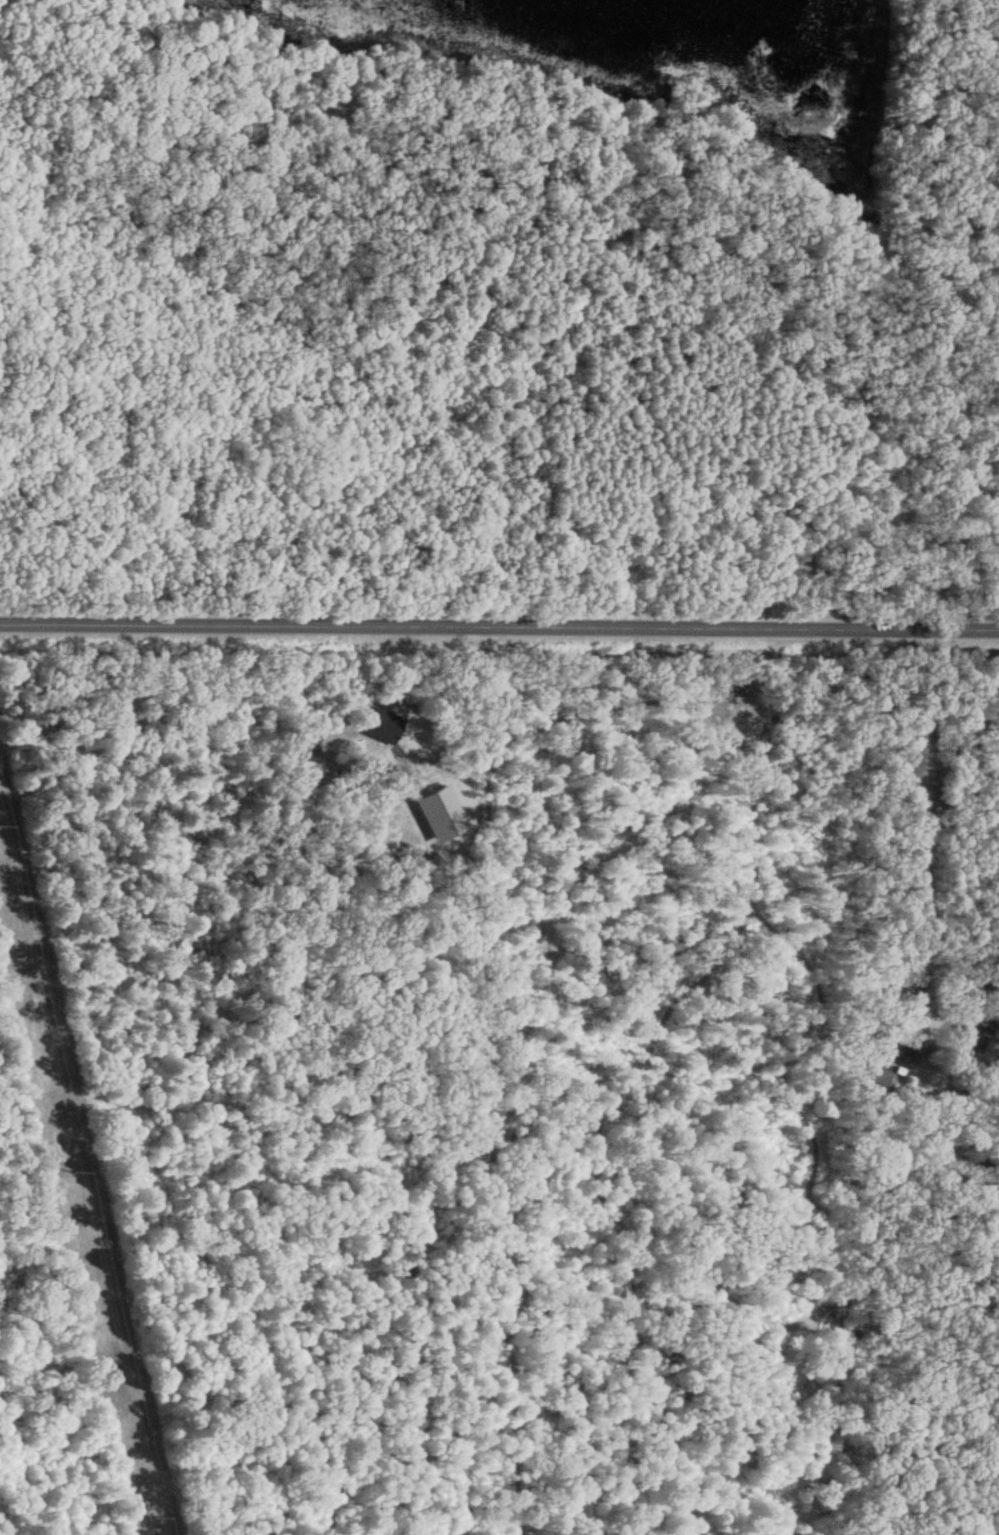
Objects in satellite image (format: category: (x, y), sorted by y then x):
road: (567, 193)
road: (499, 620)
building: (384, 723)
building: (316, 742)
road: (928, 829)
building: (904, 1055)
building: (875, 1074)

